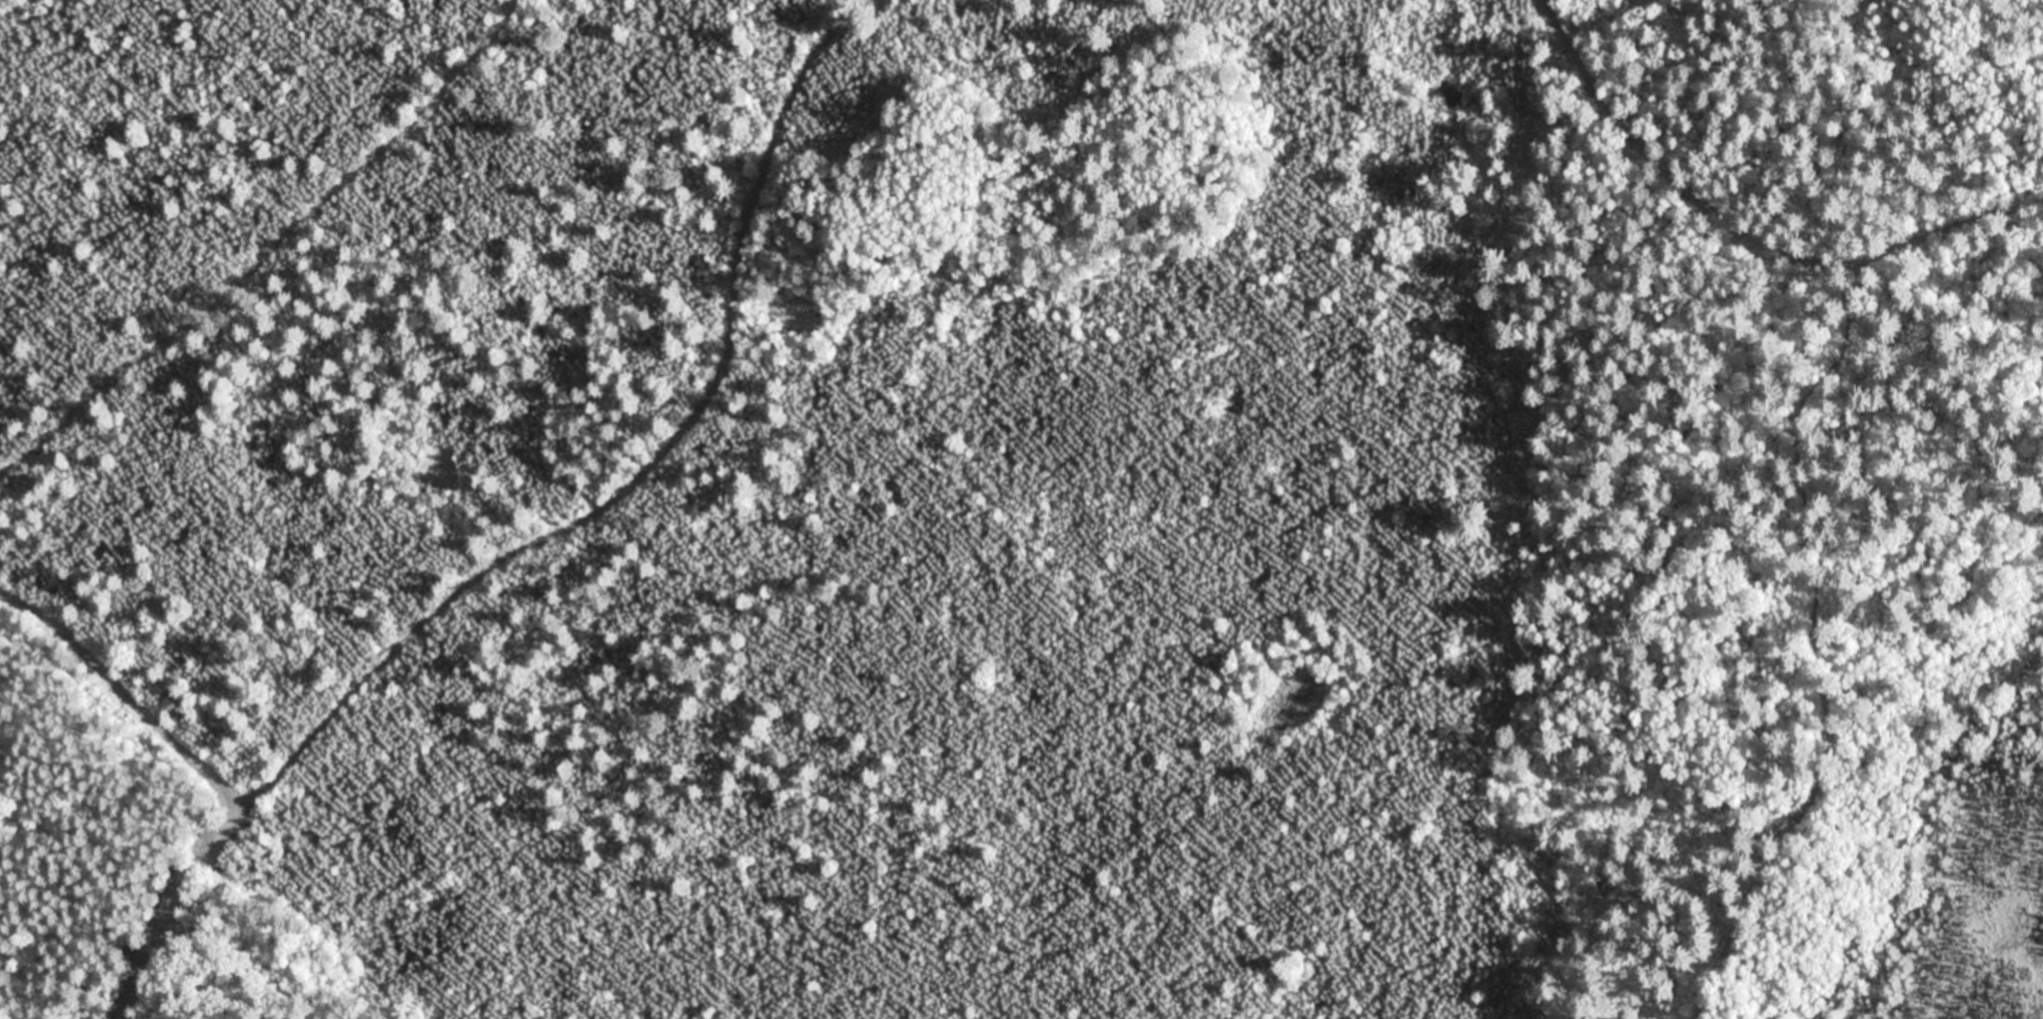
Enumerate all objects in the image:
road: (487, 529)
road: (92, 710)

